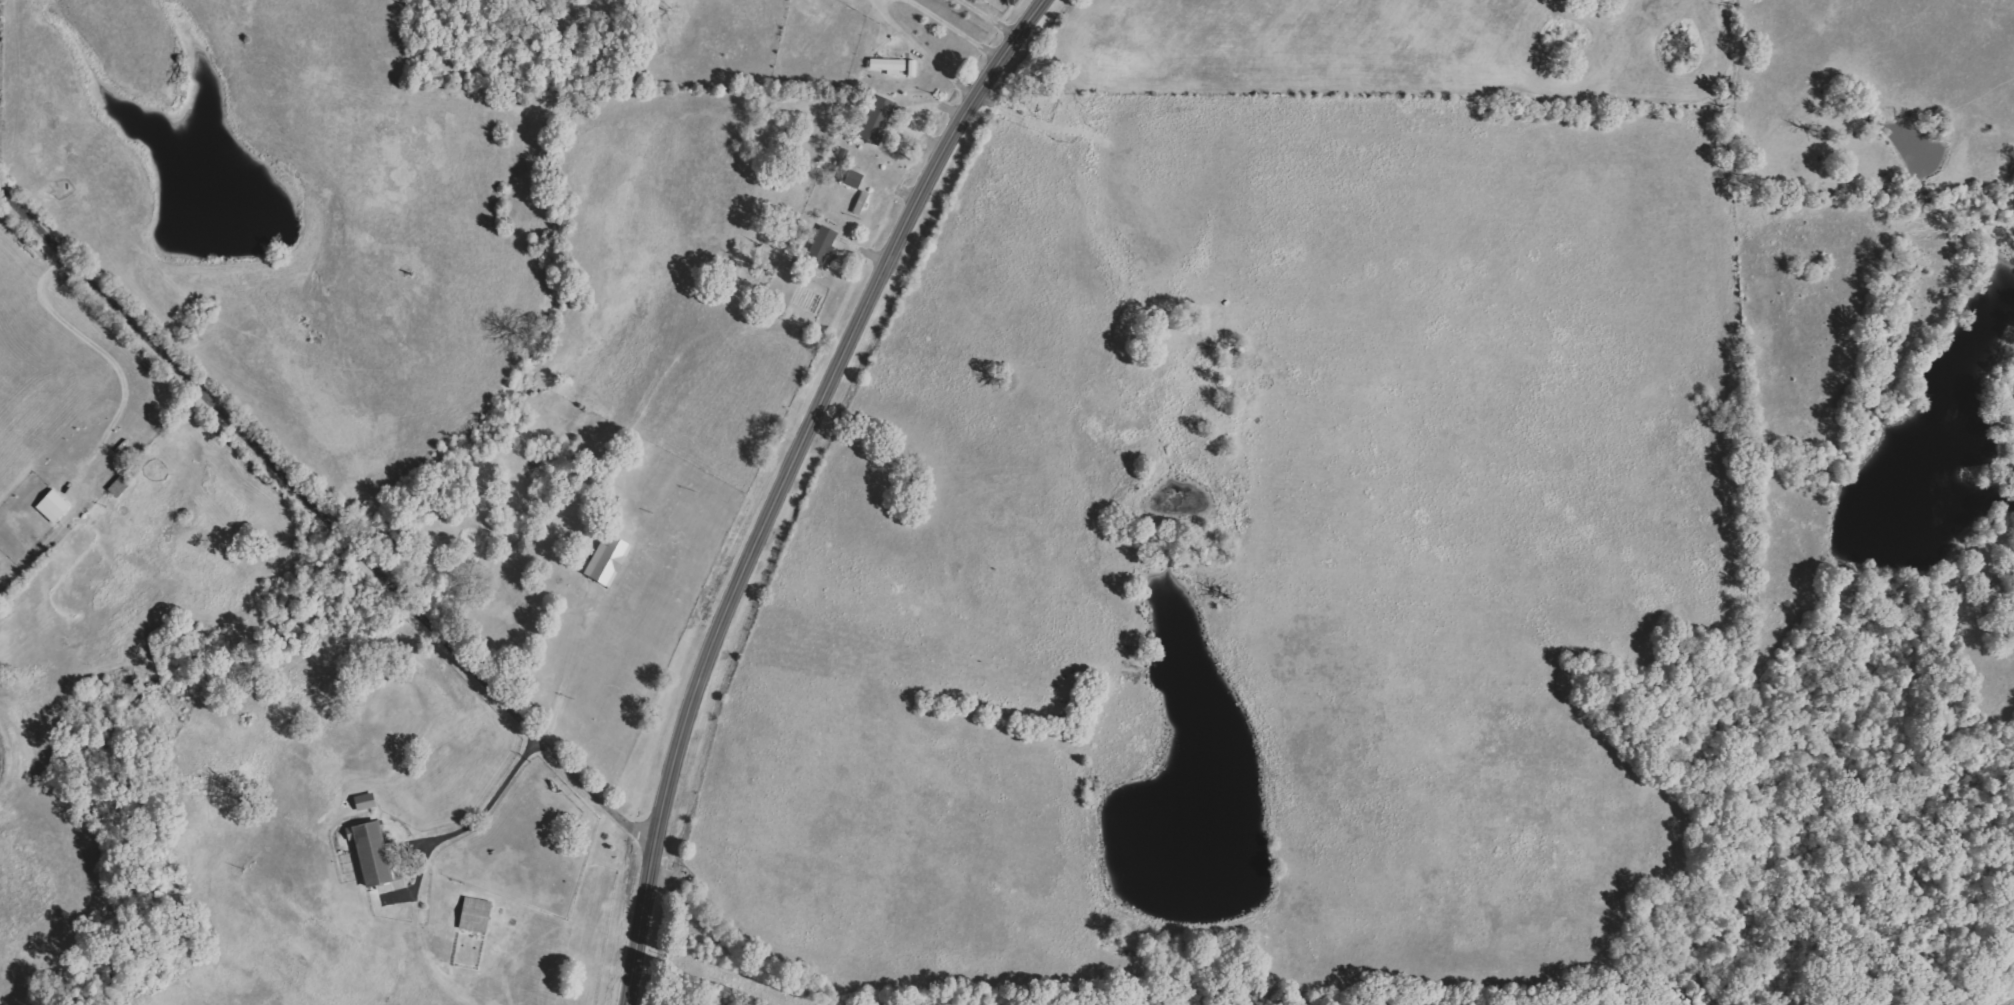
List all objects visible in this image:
road: (994, 17)
road: (959, 28)
road: (923, 49)
building: (887, 64)
building: (912, 67)
building: (876, 119)
building: (852, 178)
building: (862, 202)
building: (822, 243)
road: (91, 341)
road: (785, 481)
building: (57, 506)
road: (326, 519)
building: (606, 559)
road: (558, 667)
road: (487, 798)
building: (363, 802)
building: (375, 855)
building: (475, 914)

